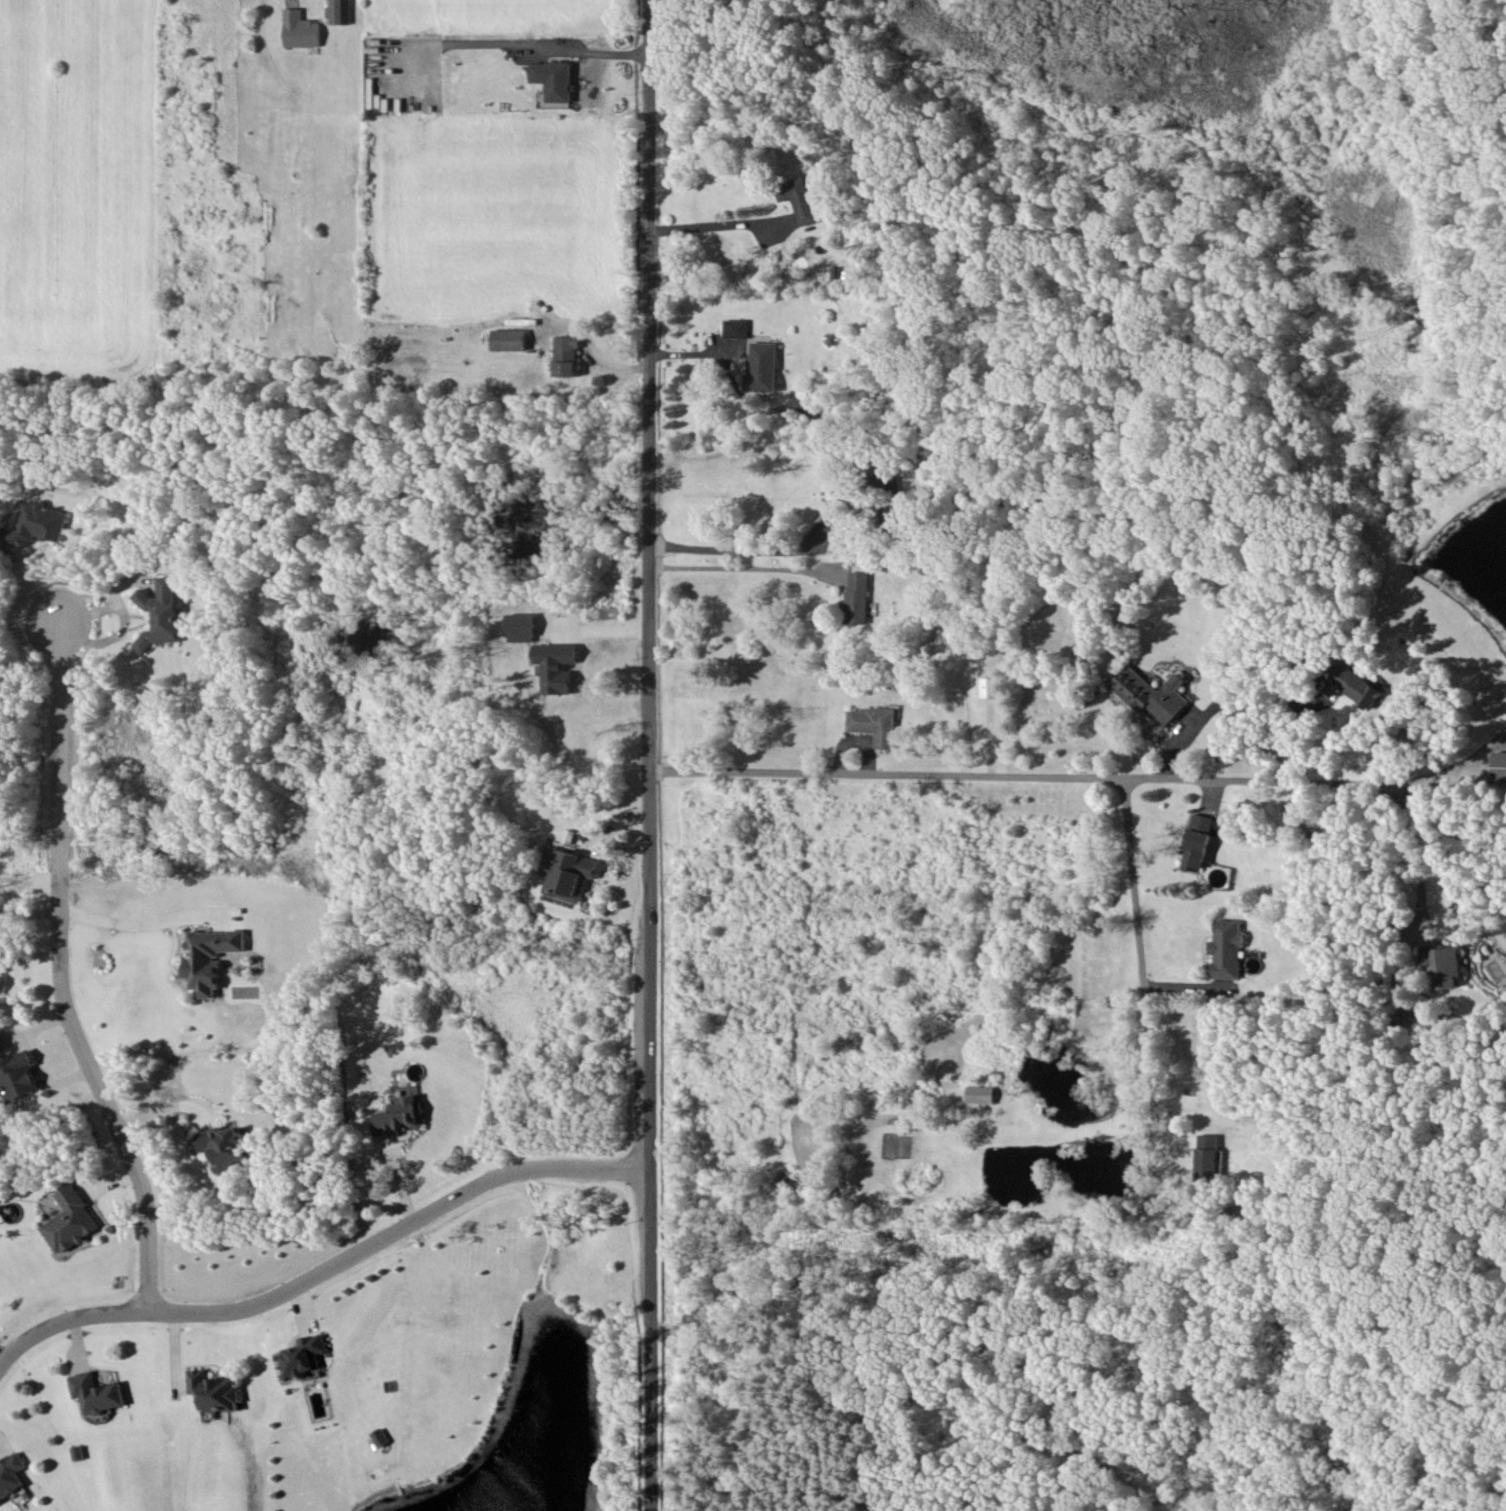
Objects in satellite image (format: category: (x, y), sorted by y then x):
building: (340, 11)
building: (301, 29)
road: (604, 49)
building: (554, 79)
building: (802, 198)
road: (718, 228)
building: (737, 328)
building: (511, 339)
building: (568, 355)
building: (764, 367)
building: (883, 475)
building: (38, 525)
road: (752, 550)
road: (743, 568)
building: (859, 597)
building: (161, 612)
building: (522, 627)
building: (557, 666)
building: (1358, 684)
building: (992, 687)
building: (1153, 695)
road: (1258, 701)
building: (877, 724)
road: (647, 755)
building: (1499, 766)
road: (1005, 774)
road: (1439, 775)
road: (1415, 841)
building: (1198, 842)
building: (570, 874)
road: (1137, 918)
road: (123, 919)
building: (0, 947)
building: (1227, 948)
building: (212, 957)
building: (1445, 965)
road: (69, 974)
building: (2, 984)
building: (1404, 1019)
building: (2, 1042)
building: (19, 1076)
building: (982, 1094)
building: (400, 1116)
road: (1154, 1116)
building: (226, 1148)
building: (1208, 1156)
building: (72, 1221)
road: (327, 1270)
building: (304, 1355)
building: (215, 1390)
building: (97, 1392)
building: (381, 1437)
building: (12, 1475)

